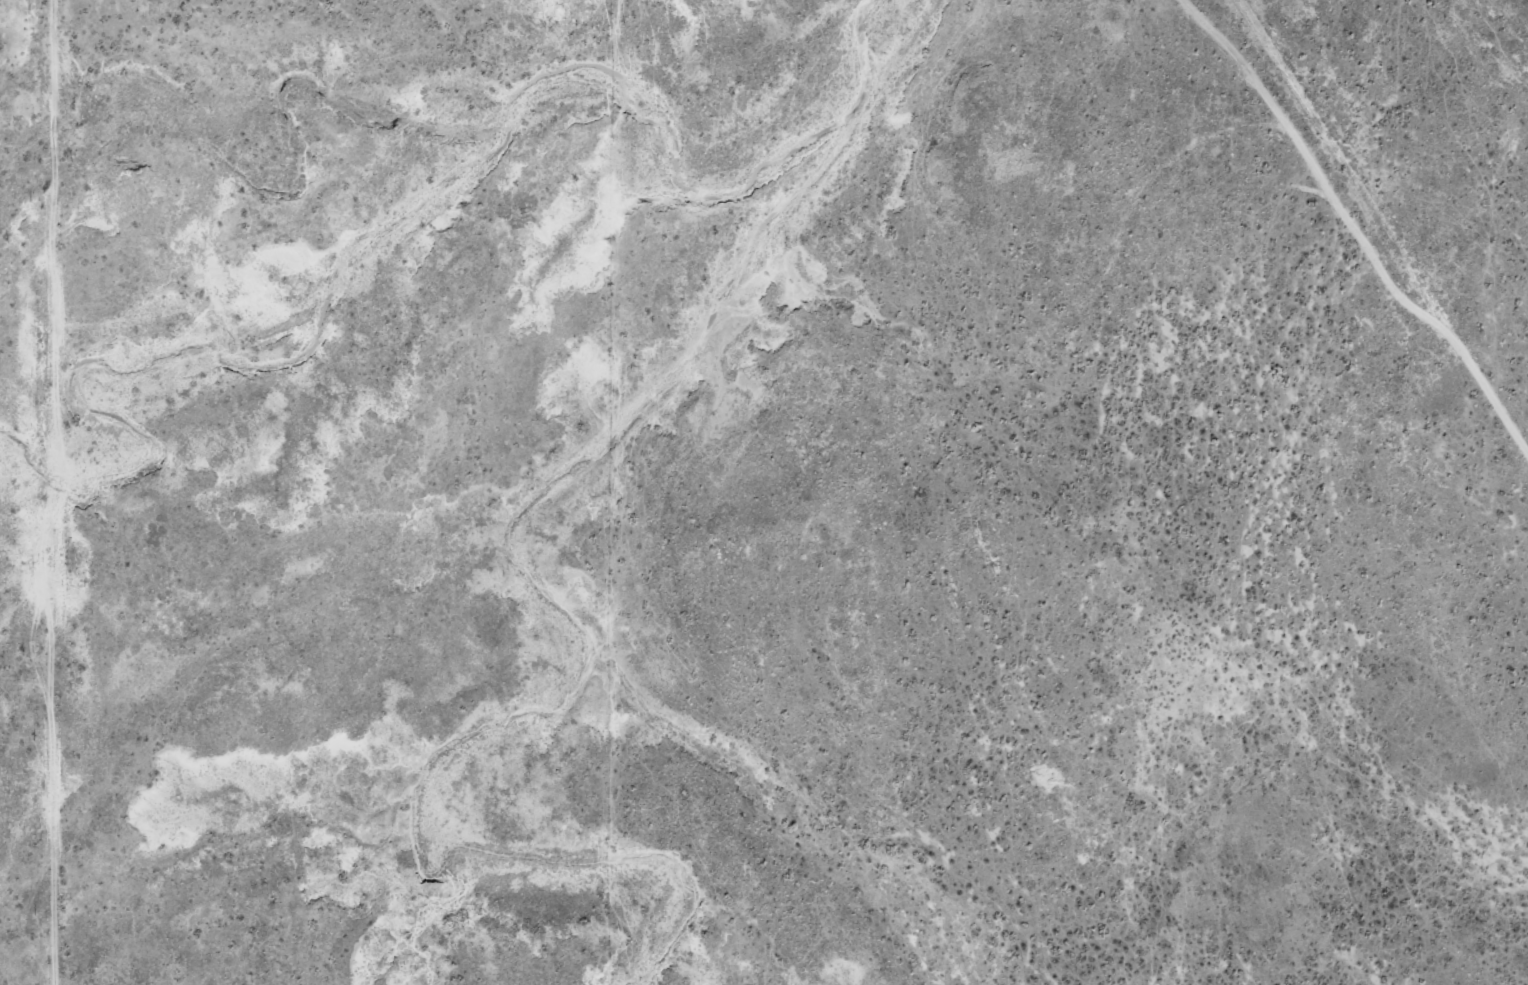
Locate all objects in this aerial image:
road: (1377, 229)
road: (43, 488)

